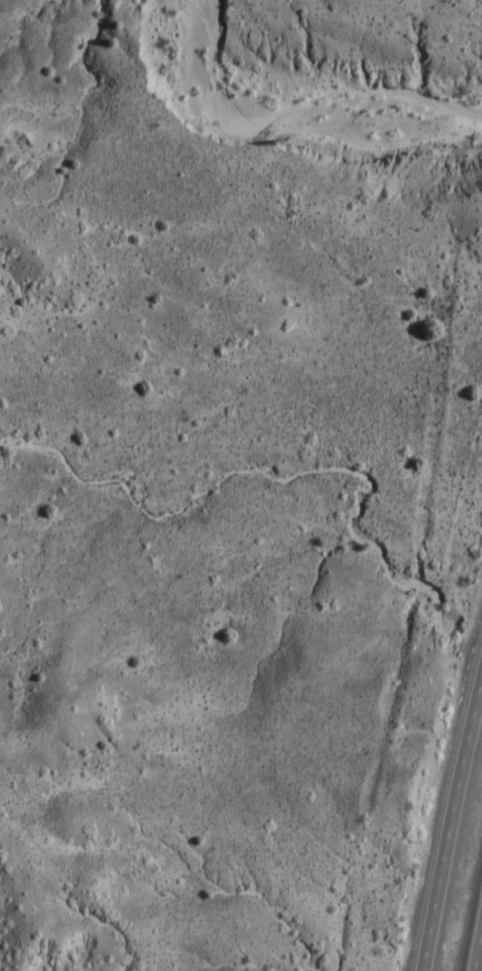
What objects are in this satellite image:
river: (291, 117)
road: (449, 828)
road: (478, 952)

